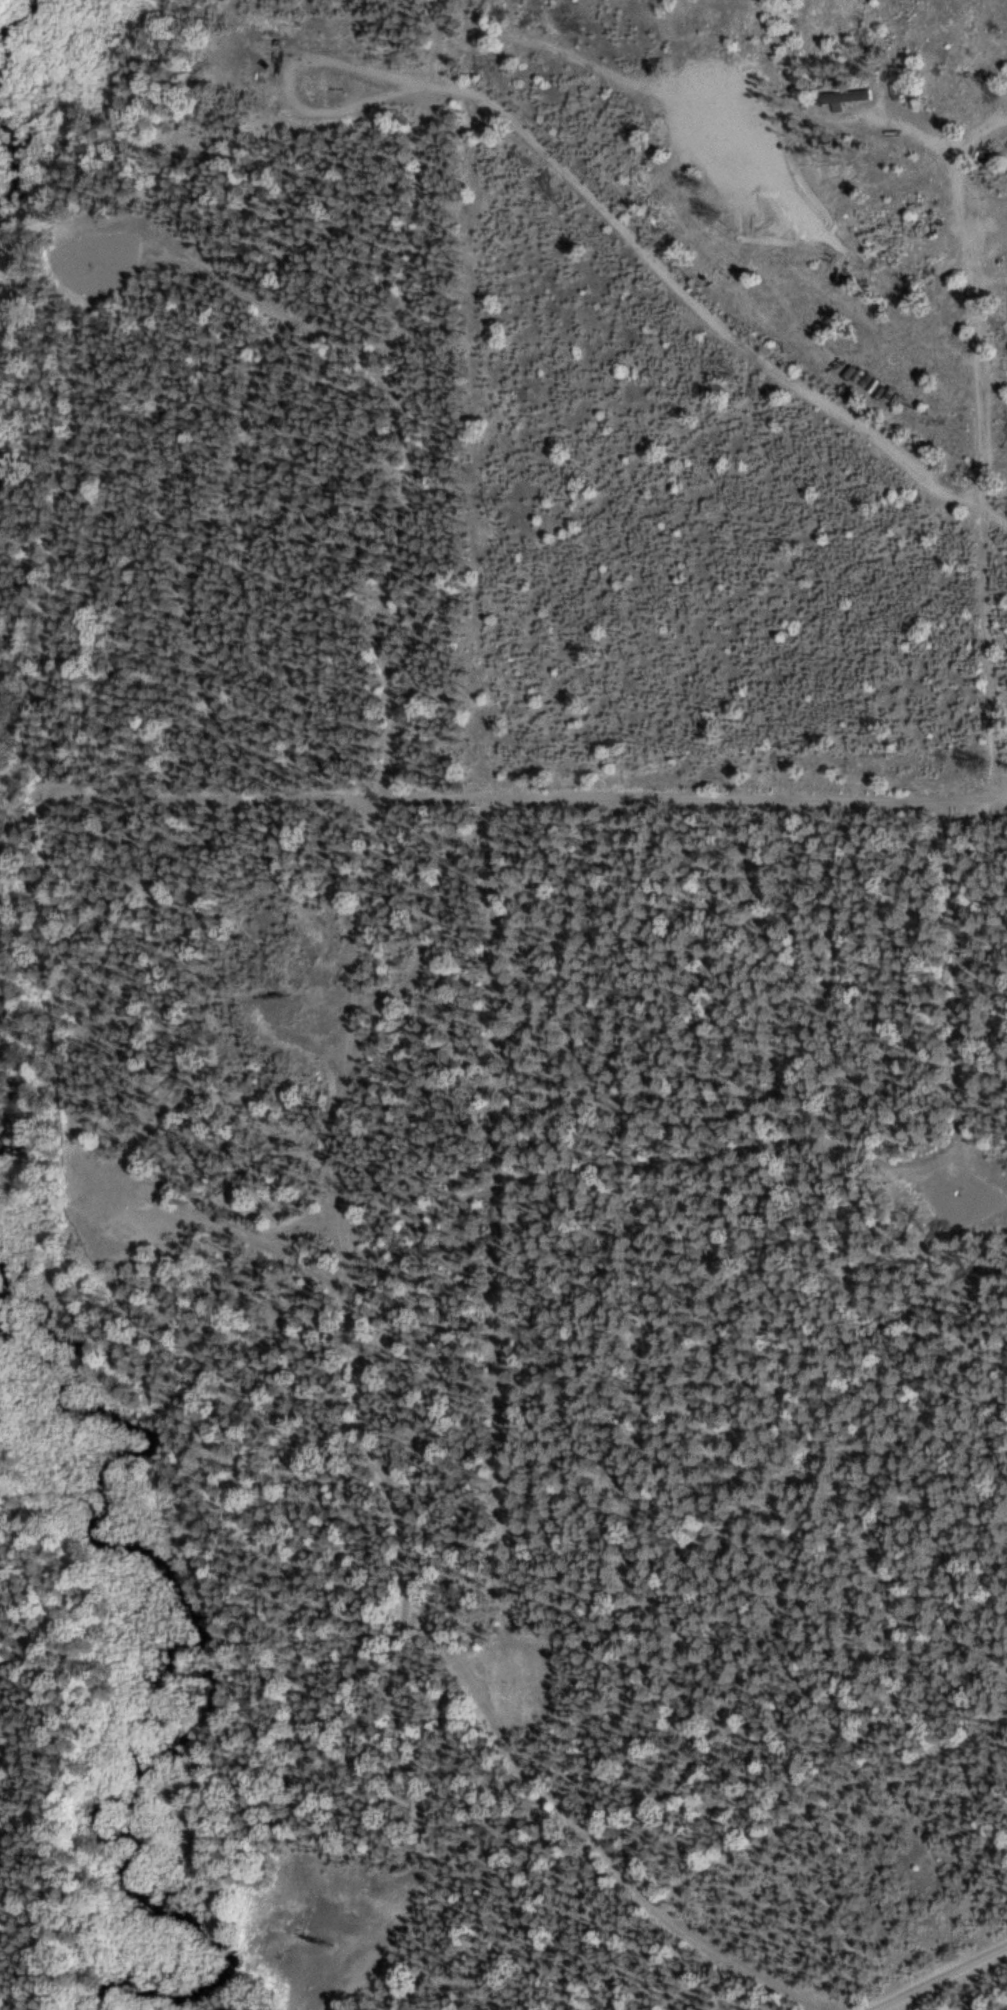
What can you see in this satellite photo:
petroleum well: (269, 61)
building: (839, 97)
road: (703, 319)
road: (397, 350)
road: (77, 372)
road: (973, 451)
road: (404, 676)
road: (524, 799)
road: (389, 1013)
road: (811, 1150)
road: (416, 1625)
petroleum well: (305, 1939)
road: (946, 1981)

